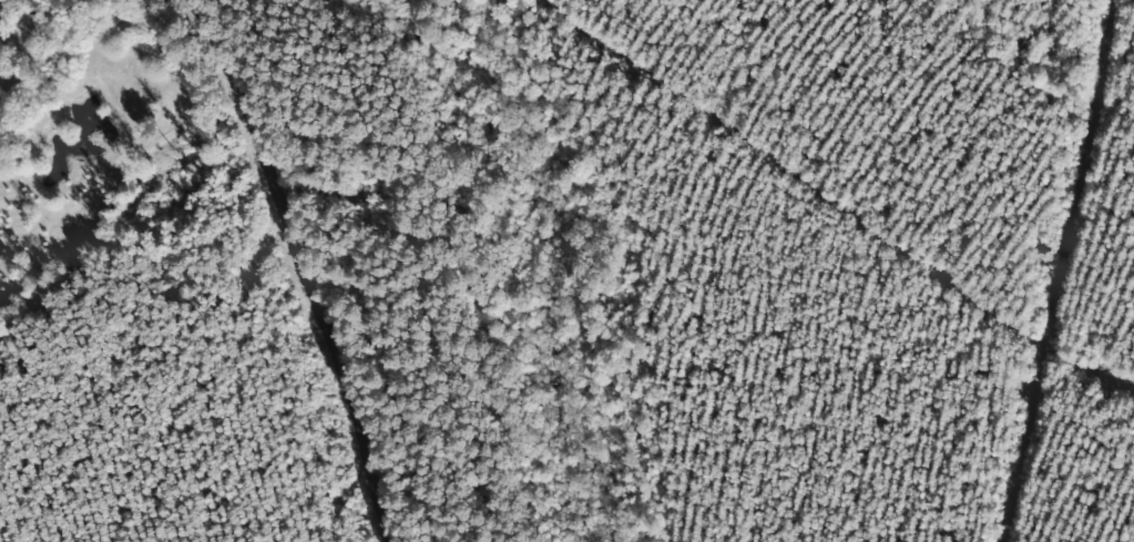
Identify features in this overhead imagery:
road: (288, 265)

